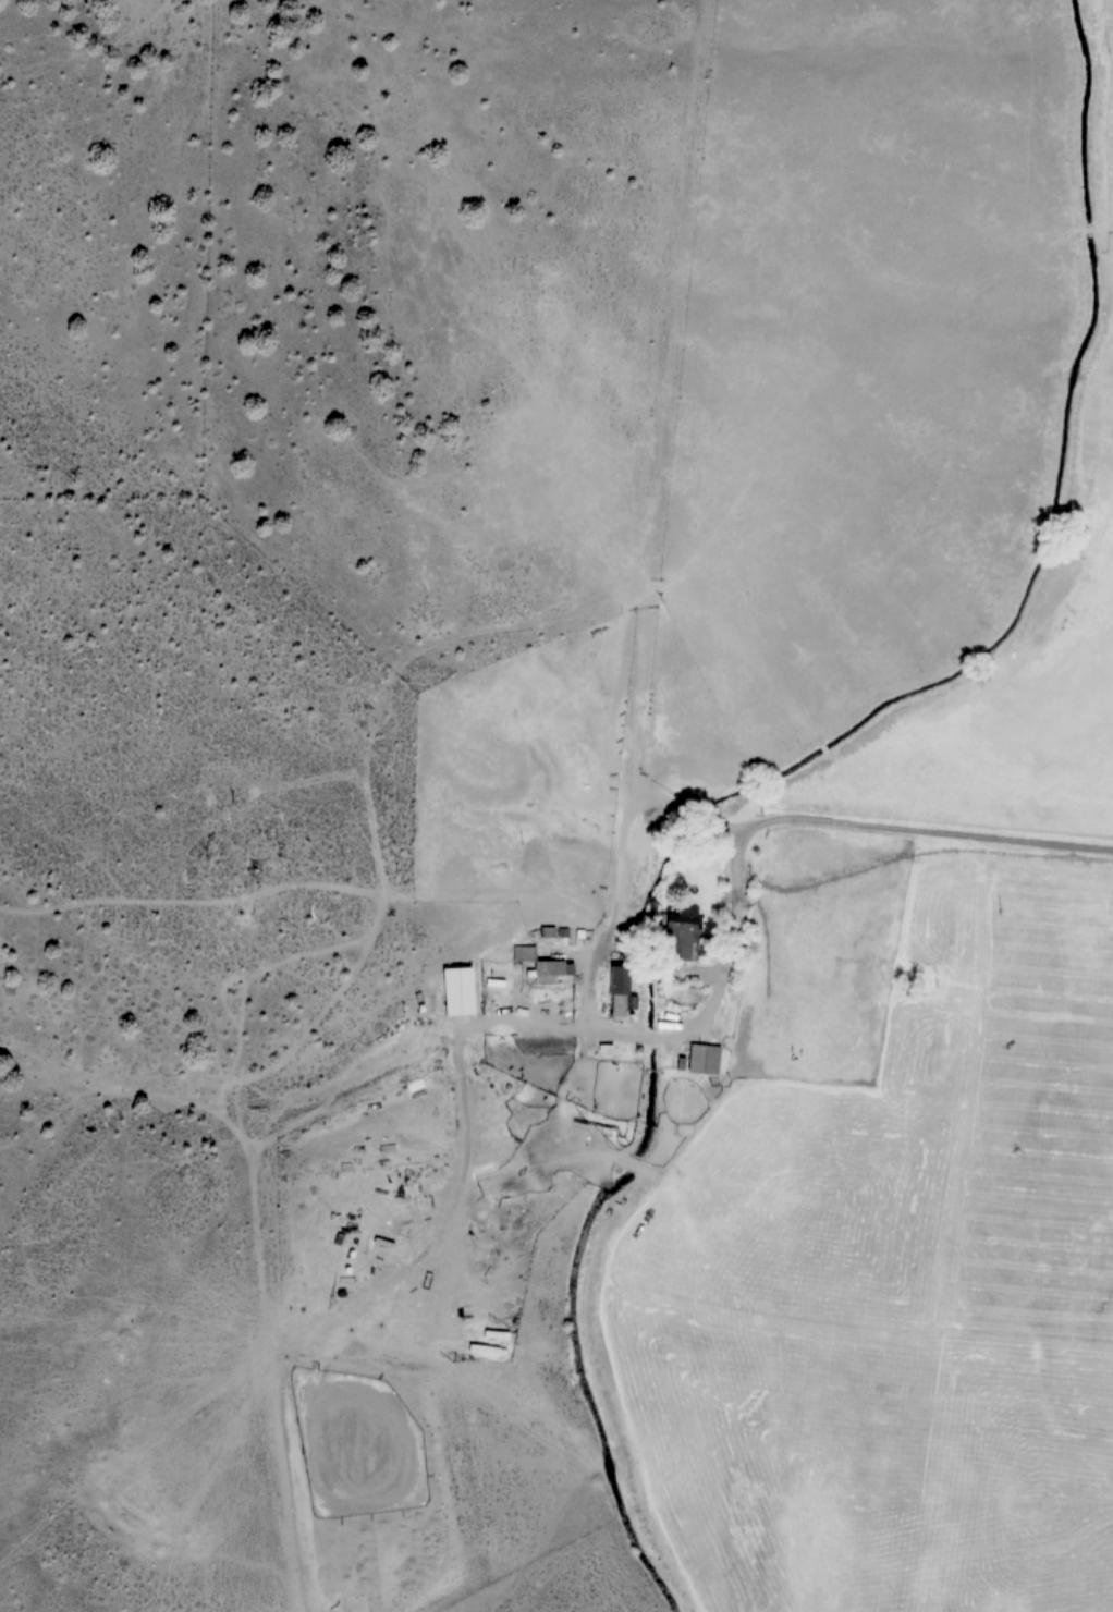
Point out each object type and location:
road: (866, 819)
building: (683, 932)
building: (541, 964)
road: (717, 986)
building: (457, 991)
building: (619, 991)
building: (705, 1058)

